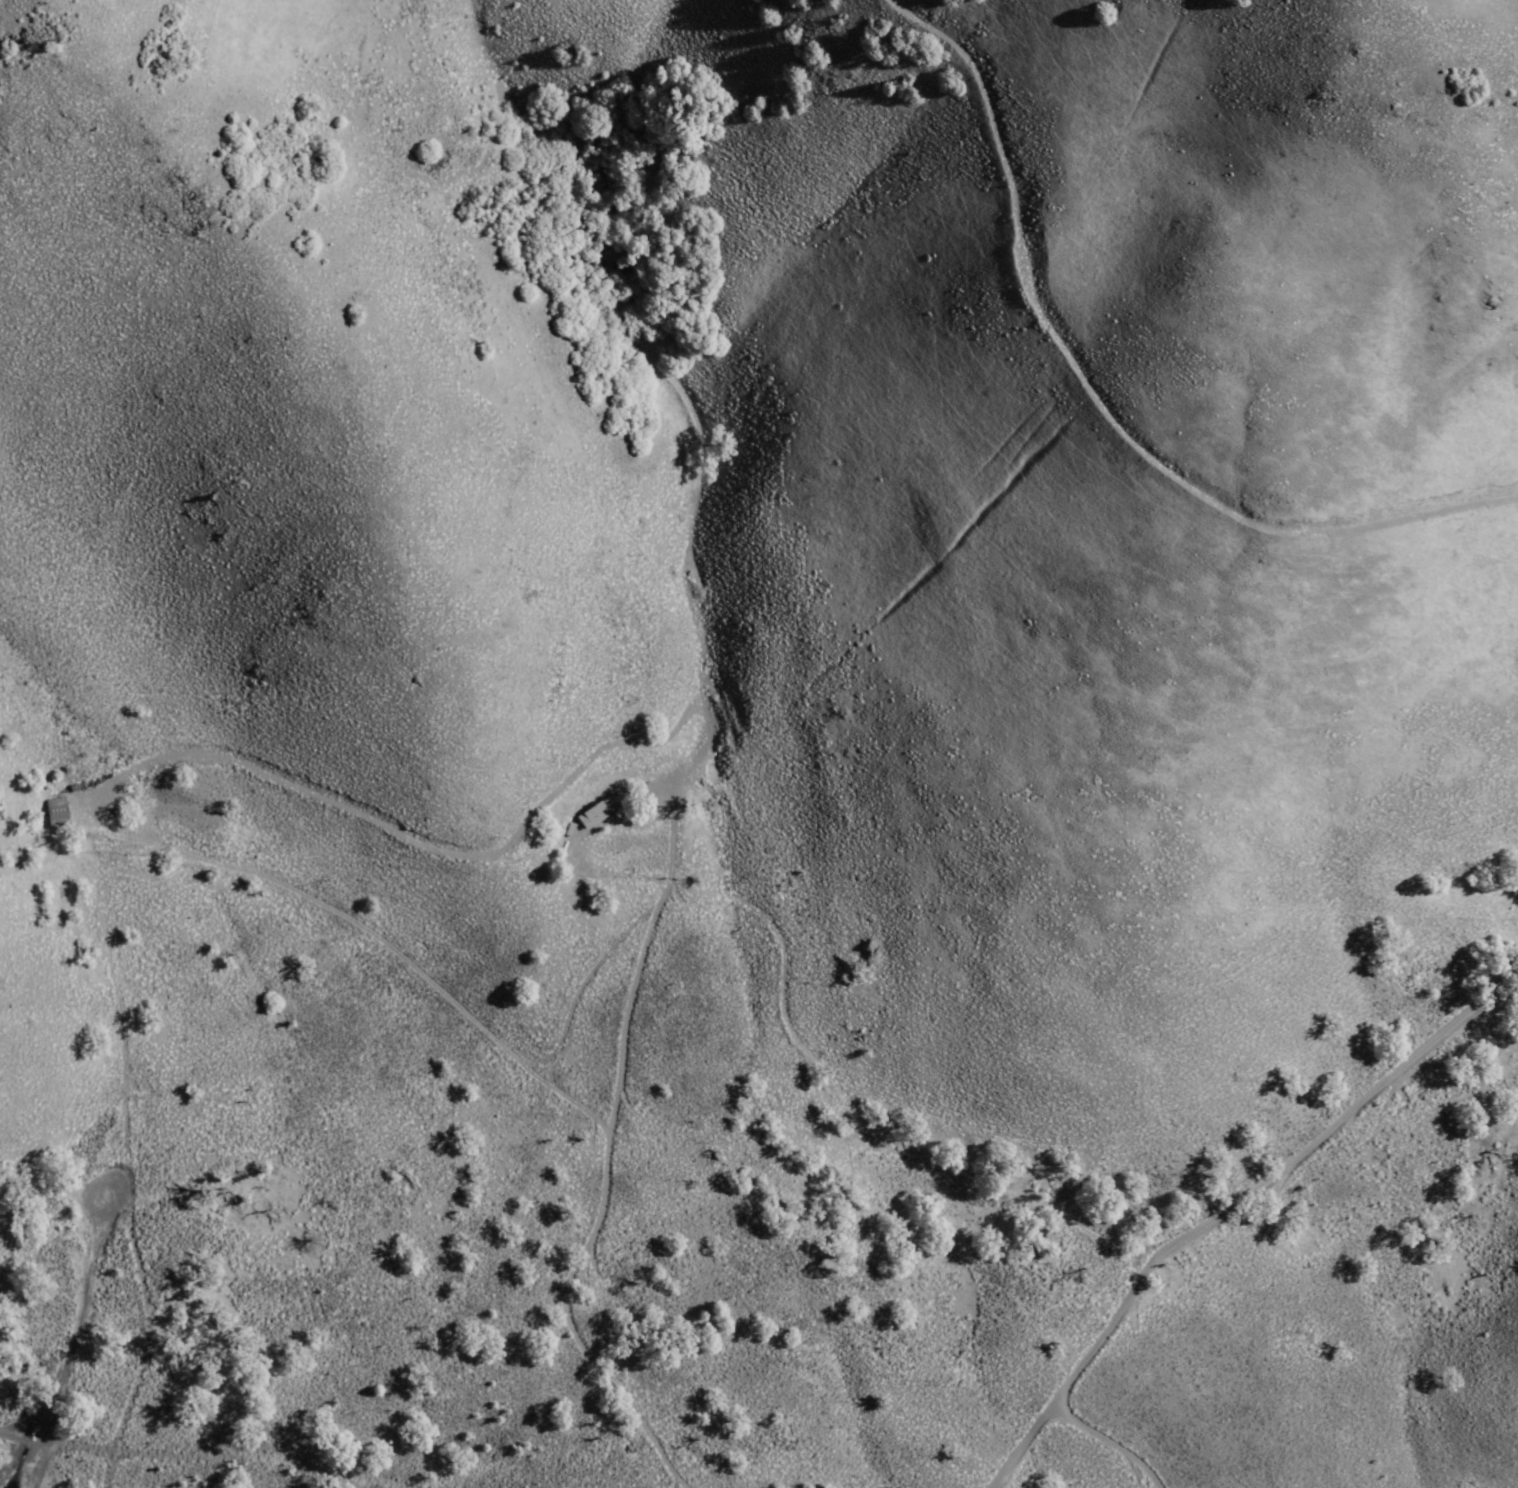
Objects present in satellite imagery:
road: (1094, 400)
building: (56, 813)
road: (499, 1039)
road: (1342, 1117)
road: (602, 1217)
road: (1077, 1371)
road: (1112, 1440)
road: (216, 1451)

